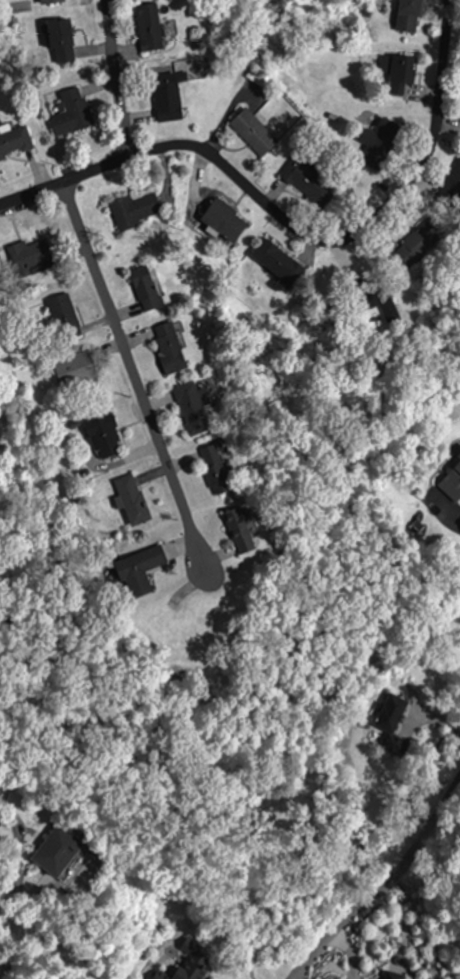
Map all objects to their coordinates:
building: (49, 1)
building: (407, 15)
building: (149, 26)
building: (61, 41)
building: (394, 67)
road: (115, 78)
building: (167, 97)
building: (71, 111)
building: (253, 132)
building: (14, 140)
building: (380, 143)
building: (306, 180)
building: (453, 183)
building: (136, 209)
building: (223, 220)
road: (291, 225)
building: (28, 255)
building: (277, 264)
building: (145, 288)
building: (62, 314)
building: (169, 346)
building: (74, 368)
road: (133, 381)
building: (192, 407)
building: (104, 436)
building: (218, 468)
building: (452, 478)
building: (131, 500)
building: (240, 528)
building: (142, 568)
building: (57, 851)
road: (382, 884)
building: (189, 964)
building: (391, 977)

